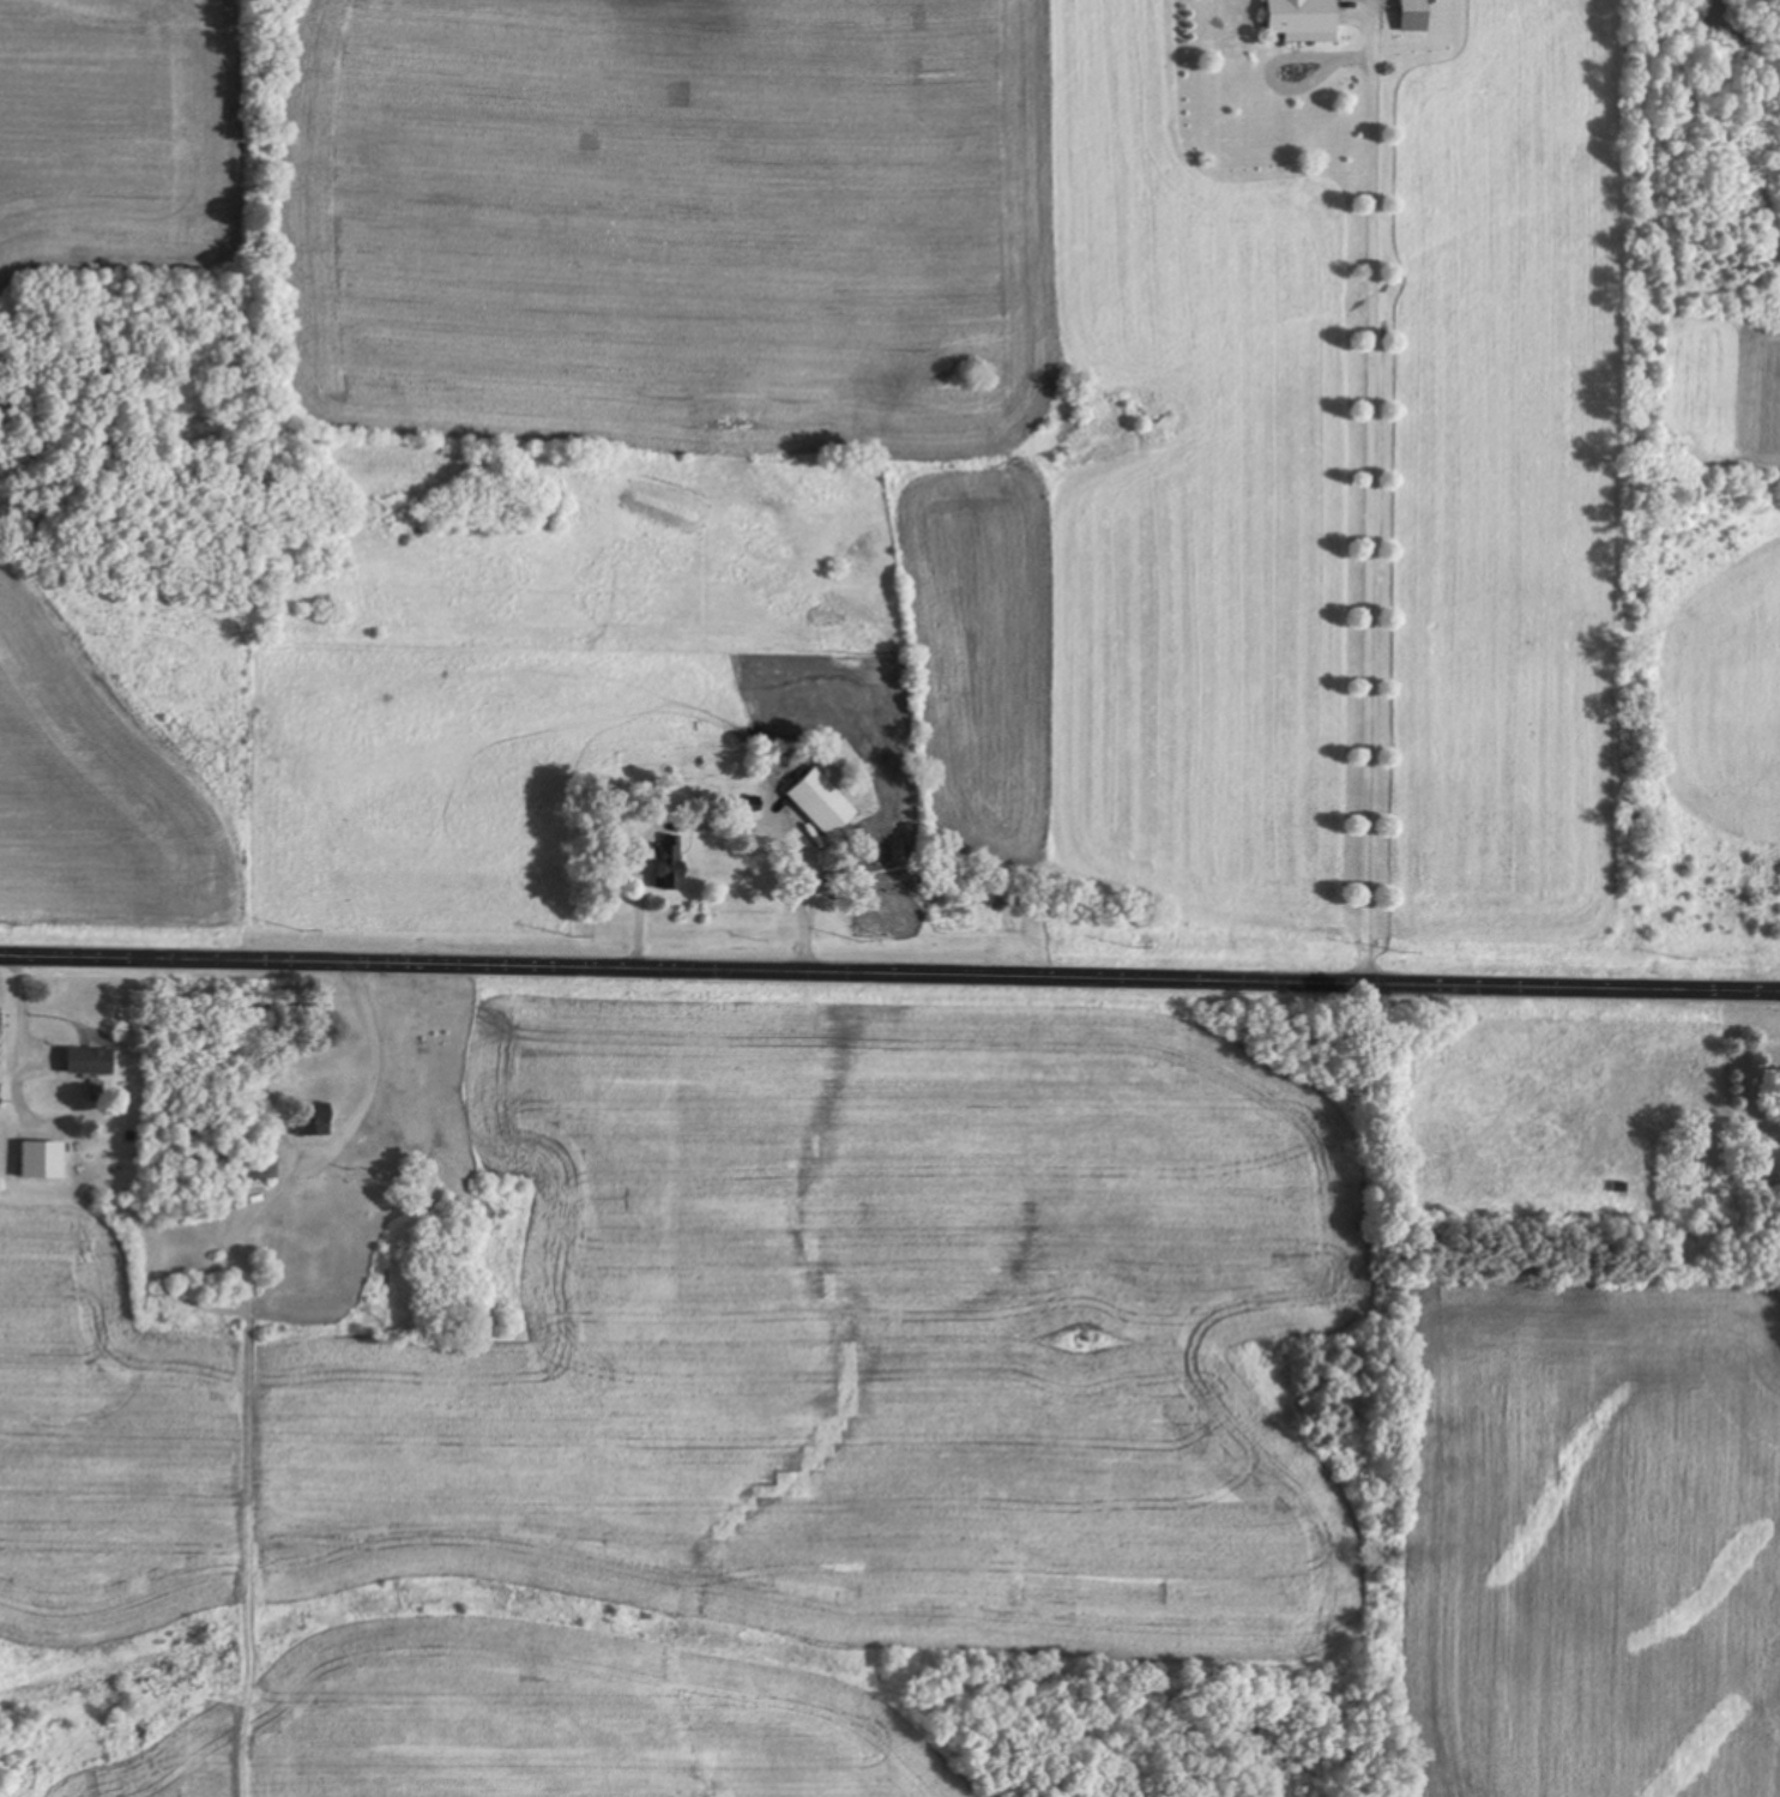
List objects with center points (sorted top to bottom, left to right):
building: (1416, 16)
building: (1304, 20)
building: (823, 804)
building: (671, 862)
road: (889, 981)
building: (90, 1061)
building: (314, 1121)

